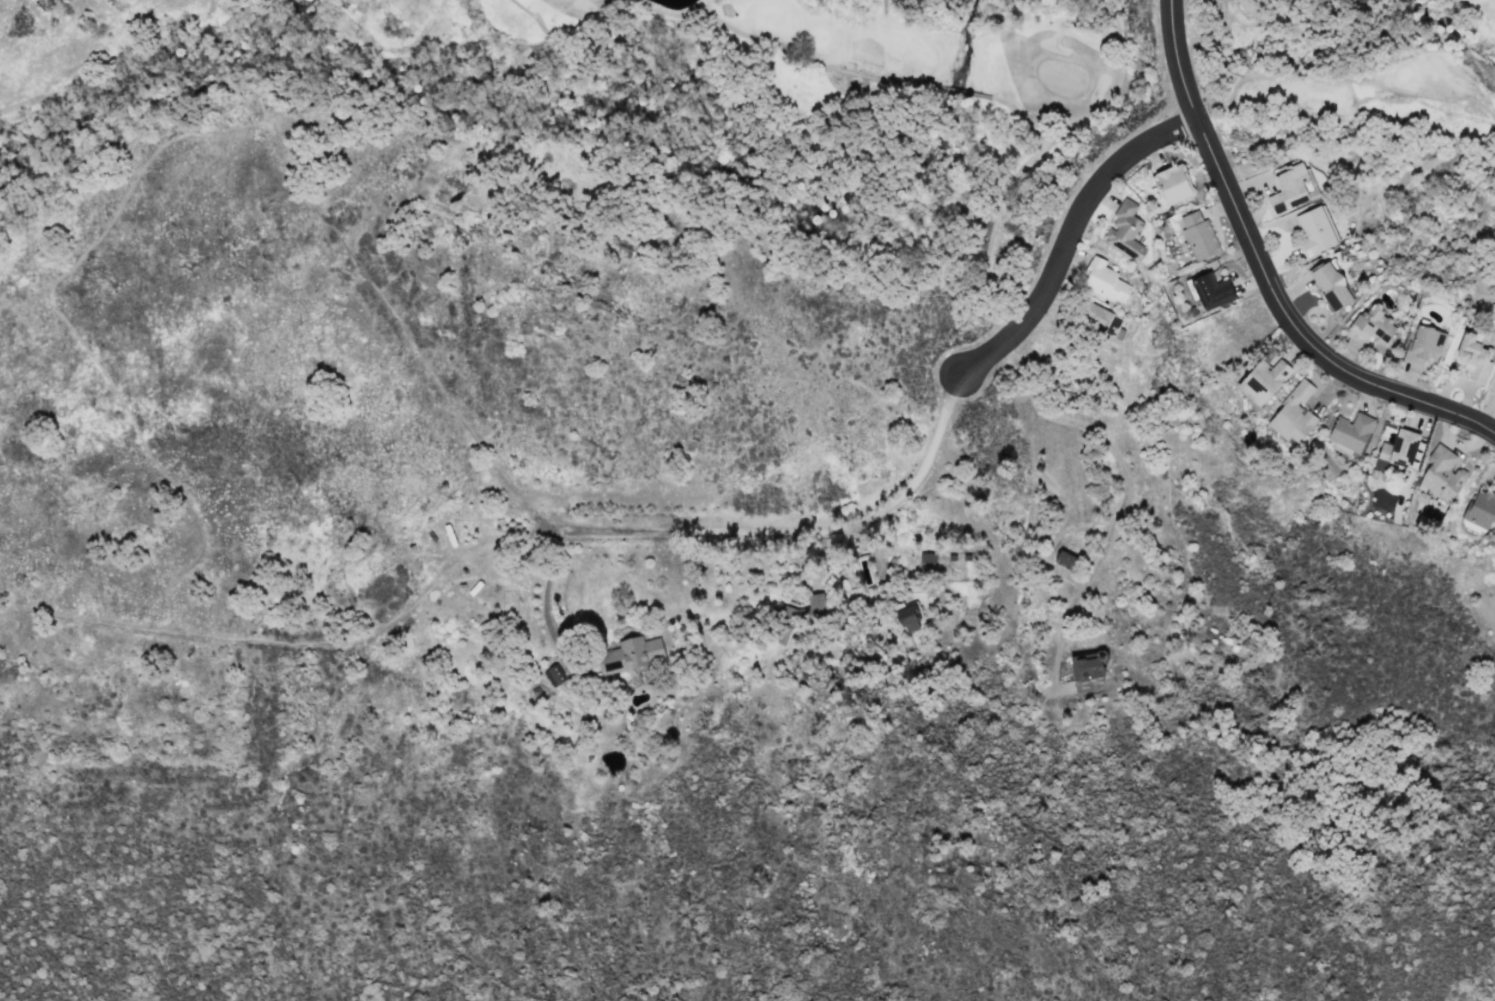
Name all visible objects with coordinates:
road: (717, 22)
road: (1020, 23)
road: (1220, 47)
road: (1339, 79)
road: (954, 90)
road: (1011, 178)
building: (1173, 183)
park: (1361, 184)
building: (1291, 187)
building: (1125, 229)
building: (1314, 231)
building: (1198, 235)
road: (1265, 273)
building: (1103, 281)
building: (1330, 284)
building: (1211, 290)
building: (1372, 323)
building: (1102, 325)
building: (1423, 343)
building: (1473, 356)
building: (1263, 376)
building: (1292, 414)
building: (1351, 431)
road: (1114, 450)
building: (1396, 450)
building: (1442, 473)
building: (1481, 509)
road: (858, 524)
building: (927, 557)
building: (1064, 559)
road: (546, 601)
building: (909, 617)
road: (1059, 643)
building: (634, 651)
building: (1087, 671)
building: (552, 675)

